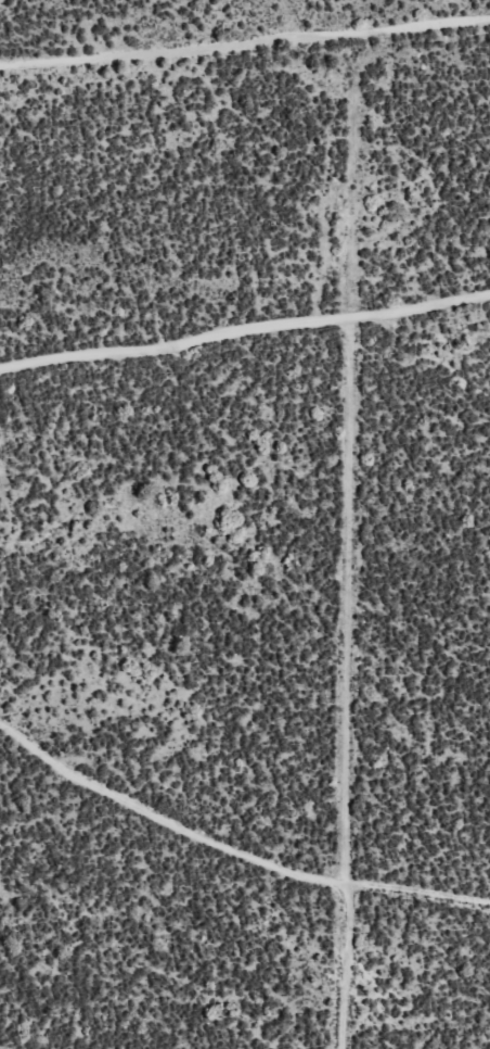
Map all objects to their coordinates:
road: (245, 45)
road: (231, 863)

